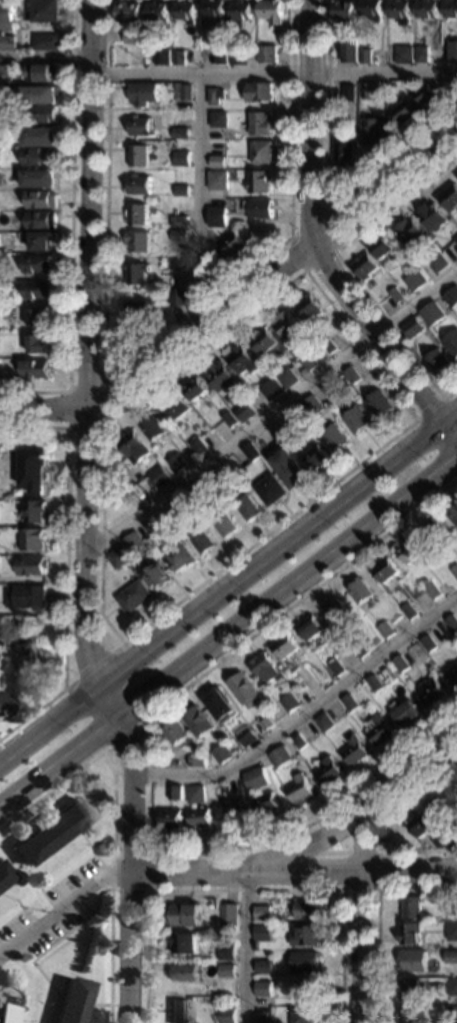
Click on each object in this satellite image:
building: (450, 8)
building: (212, 9)
building: (343, 9)
building: (371, 9)
building: (426, 9)
building: (47, 10)
building: (157, 10)
building: (184, 10)
building: (271, 10)
building: (399, 10)
building: (127, 11)
building: (239, 13)
building: (6, 15)
building: (131, 36)
building: (45, 41)
building: (7, 42)
building: (348, 49)
building: (452, 49)
building: (267, 53)
building: (403, 53)
building: (421, 53)
building: (221, 55)
building: (238, 55)
building: (365, 55)
building: (161, 56)
road: (45, 57)
building: (178, 57)
building: (43, 72)
road: (273, 73)
building: (366, 90)
building: (185, 91)
building: (258, 91)
building: (348, 92)
building: (39, 93)
building: (143, 93)
building: (214, 95)
building: (414, 103)
building: (39, 112)
building: (218, 118)
road: (311, 121)
building: (259, 122)
building: (139, 125)
building: (179, 127)
building: (371, 128)
building: (39, 135)
building: (261, 151)
building: (344, 151)
building: (138, 154)
building: (40, 155)
building: (180, 157)
building: (216, 160)
building: (456, 174)
building: (39, 177)
building: (1, 178)
building: (217, 179)
building: (258, 180)
building: (138, 184)
road: (325, 186)
building: (180, 189)
building: (450, 196)
building: (41, 198)
road: (197, 199)
building: (216, 204)
building: (257, 208)
road: (322, 210)
building: (174, 212)
building: (137, 213)
building: (433, 215)
building: (216, 216)
building: (41, 219)
building: (179, 220)
road: (71, 229)
building: (410, 230)
building: (179, 234)
building: (41, 239)
building: (456, 239)
building: (138, 240)
building: (230, 246)
building: (387, 248)
building: (438, 262)
building: (37, 263)
building: (177, 264)
building: (365, 265)
road: (344, 266)
road: (273, 269)
building: (137, 272)
building: (415, 280)
building: (37, 289)
building: (396, 293)
building: (178, 296)
building: (451, 296)
road: (326, 299)
building: (308, 306)
building: (137, 309)
building: (433, 312)
building: (39, 316)
building: (287, 324)
building: (413, 326)
building: (263, 340)
building: (452, 342)
building: (40, 343)
road: (88, 343)
road: (383, 343)
building: (329, 344)
road: (141, 349)
building: (242, 359)
building: (439, 360)
building: (309, 361)
building: (34, 369)
building: (352, 374)
building: (220, 375)
building: (287, 377)
road: (104, 379)
building: (195, 388)
building: (271, 389)
building: (329, 390)
building: (326, 403)
building: (380, 403)
building: (310, 405)
building: (176, 406)
road: (44, 408)
road: (430, 408)
building: (244, 411)
road: (271, 411)
building: (229, 418)
building: (294, 418)
building: (357, 418)
building: (153, 428)
building: (335, 436)
building: (134, 445)
building: (198, 445)
building: (250, 451)
building: (316, 456)
building: (176, 461)
building: (290, 467)
building: (34, 468)
building: (159, 475)
building: (219, 475)
building: (271, 489)
building: (197, 491)
building: (247, 505)
building: (177, 507)
building: (35, 510)
building: (454, 514)
building: (224, 521)
building: (154, 526)
building: (435, 531)
building: (33, 538)
building: (202, 538)
building: (132, 541)
road: (280, 548)
building: (411, 550)
building: (183, 555)
building: (118, 556)
building: (32, 564)
road: (66, 565)
building: (454, 569)
building: (386, 571)
building: (157, 576)
road: (288, 589)
building: (360, 589)
building: (432, 590)
building: (26, 595)
building: (135, 595)
building: (335, 610)
building: (408, 610)
building: (40, 616)
building: (19, 621)
building: (452, 621)
building: (310, 626)
building: (385, 629)
building: (373, 639)
building: (428, 642)
building: (286, 645)
building: (359, 648)
building: (30, 656)
building: (399, 662)
road: (93, 666)
building: (335, 666)
building: (265, 668)
building: (452, 674)
building: (374, 682)
building: (245, 689)
building: (430, 690)
road: (111, 699)
building: (349, 701)
building: (288, 702)
building: (221, 703)
building: (3, 705)
road: (304, 712)
building: (405, 712)
building: (199, 720)
road: (51, 721)
building: (323, 721)
building: (266, 722)
building: (378, 729)
building: (177, 731)
building: (245, 735)
road: (113, 740)
building: (298, 740)
road: (129, 744)
building: (353, 750)
building: (222, 753)
road: (105, 756)
building: (278, 756)
building: (197, 759)
road: (59, 762)
road: (148, 766)
building: (327, 770)
building: (255, 777)
building: (223, 786)
building: (456, 786)
building: (298, 789)
building: (175, 791)
building: (195, 793)
building: (265, 802)
building: (442, 806)
building: (231, 810)
building: (199, 816)
building: (170, 817)
road: (131, 823)
building: (419, 823)
road: (377, 825)
building: (50, 832)
road: (112, 834)
building: (453, 835)
building: (438, 838)
road: (85, 842)
road: (307, 846)
road: (323, 851)
road: (360, 870)
road: (377, 871)
road: (26, 872)
road: (147, 872)
road: (70, 874)
building: (3, 876)
road: (245, 888)
road: (13, 901)
building: (411, 906)
parking lot: (61, 909)
road: (62, 909)
building: (305, 909)
road: (20, 912)
building: (261, 912)
building: (185, 913)
building: (452, 913)
building: (227, 914)
road: (376, 915)
road: (361, 918)
building: (451, 930)
building: (262, 931)
building: (409, 932)
building: (305, 935)
building: (182, 942)
road: (55, 943)
road: (129, 947)
road: (244, 948)
building: (226, 951)
building: (451, 956)
building: (412, 959)
building: (303, 961)
building: (262, 966)
building: (225, 969)
building: (184, 971)
building: (452, 985)
building: (262, 987)
building: (305, 988)
building: (409, 989)
road: (12, 993)
road: (55, 993)
building: (216, 998)
building: (71, 1001)
building: (231, 1002)
building: (265, 1009)
building: (178, 1011)
building: (451, 1011)
building: (7, 1013)
building: (303, 1014)
building: (409, 1014)
building: (225, 1015)
building: (261, 1022)

